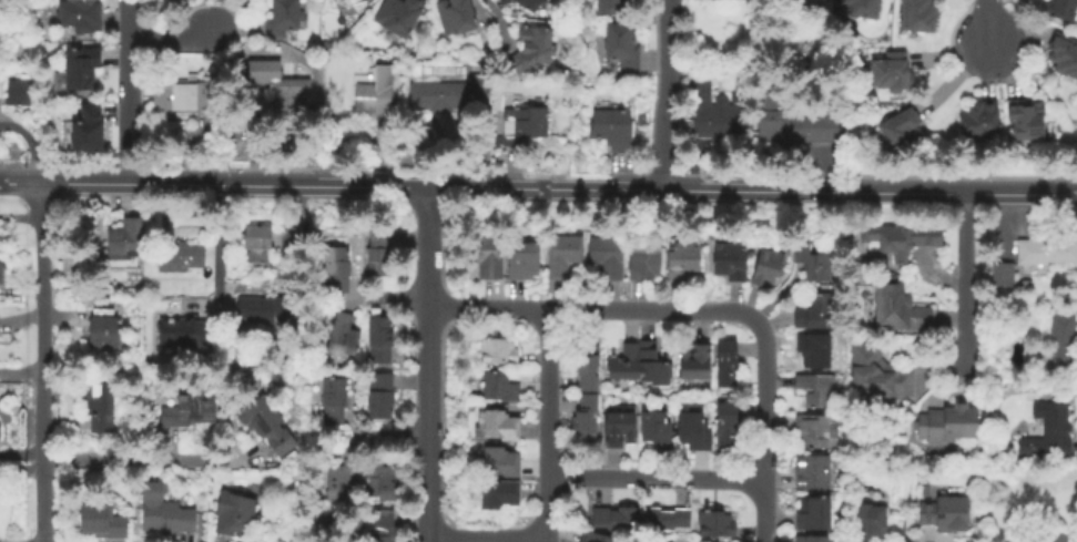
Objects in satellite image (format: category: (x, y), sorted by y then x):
building: (531, 3)
building: (613, 7)
building: (860, 7)
building: (1063, 8)
building: (83, 14)
building: (400, 14)
building: (921, 16)
building: (285, 18)
building: (450, 21)
road: (487, 22)
road: (988, 24)
road: (172, 39)
building: (624, 48)
building: (534, 50)
building: (1065, 57)
building: (83, 65)
building: (486, 68)
building: (895, 72)
building: (482, 84)
building: (280, 86)
building: (21, 91)
road: (124, 91)
building: (370, 93)
building: (441, 94)
road: (667, 95)
building: (186, 98)
building: (717, 112)
building: (982, 120)
building: (1030, 120)
building: (795, 122)
building: (524, 125)
building: (613, 127)
building: (91, 130)
building: (904, 130)
building: (885, 131)
building: (643, 140)
road: (423, 186)
road: (962, 191)
building: (256, 236)
building: (900, 237)
building: (125, 238)
building: (1046, 249)
building: (566, 252)
building: (380, 253)
building: (488, 255)
building: (609, 255)
road: (214, 257)
building: (181, 258)
building: (648, 258)
building: (526, 259)
building: (685, 259)
building: (732, 260)
building: (815, 260)
building: (771, 267)
building: (339, 268)
building: (0, 275)
building: (1004, 275)
road: (962, 277)
building: (1025, 284)
road: (397, 301)
building: (263, 308)
building: (898, 309)
road: (705, 310)
building: (815, 311)
building: (104, 329)
building: (184, 333)
building: (344, 339)
building: (383, 339)
building: (1058, 345)
building: (816, 349)
building: (500, 351)
road: (42, 361)
building: (699, 361)
building: (640, 362)
building: (728, 362)
road: (428, 365)
road: (21, 370)
building: (876, 374)
building: (502, 387)
building: (819, 389)
building: (383, 395)
building: (589, 395)
building: (336, 400)
building: (100, 406)
building: (187, 409)
building: (266, 423)
road: (550, 423)
building: (946, 423)
building: (504, 426)
building: (729, 426)
building: (1055, 427)
building: (623, 428)
building: (660, 428)
building: (697, 431)
building: (819, 431)
road: (397, 442)
building: (1029, 443)
road: (141, 459)
building: (504, 461)
road: (21, 464)
building: (814, 471)
building: (294, 474)
building: (343, 478)
road: (658, 479)
building: (385, 480)
building: (925, 490)
building: (501, 494)
building: (946, 512)
building: (164, 513)
building: (234, 513)
building: (816, 514)
building: (618, 518)
building: (671, 519)
building: (102, 521)
building: (870, 522)
building: (718, 524)
building: (388, 526)
building: (342, 531)
road: (487, 536)
building: (599, 536)
building: (1049, 538)
building: (814, 539)

